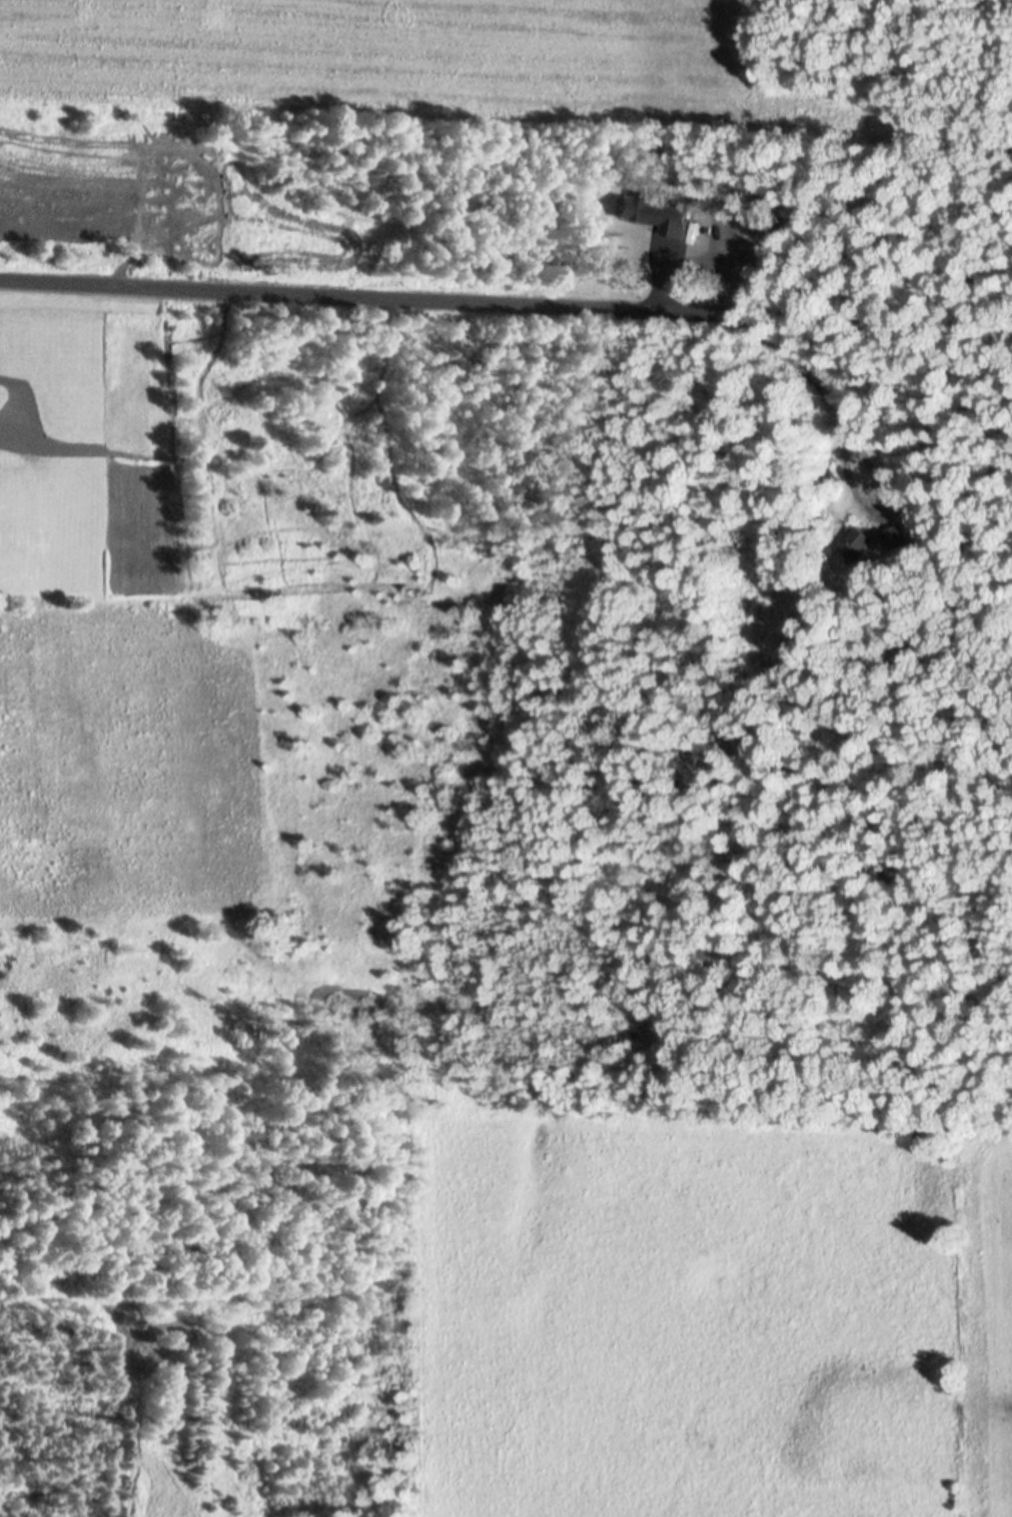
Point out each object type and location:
road: (361, 298)
building: (826, 475)
building: (764, 531)
building: (896, 534)
building: (857, 539)

